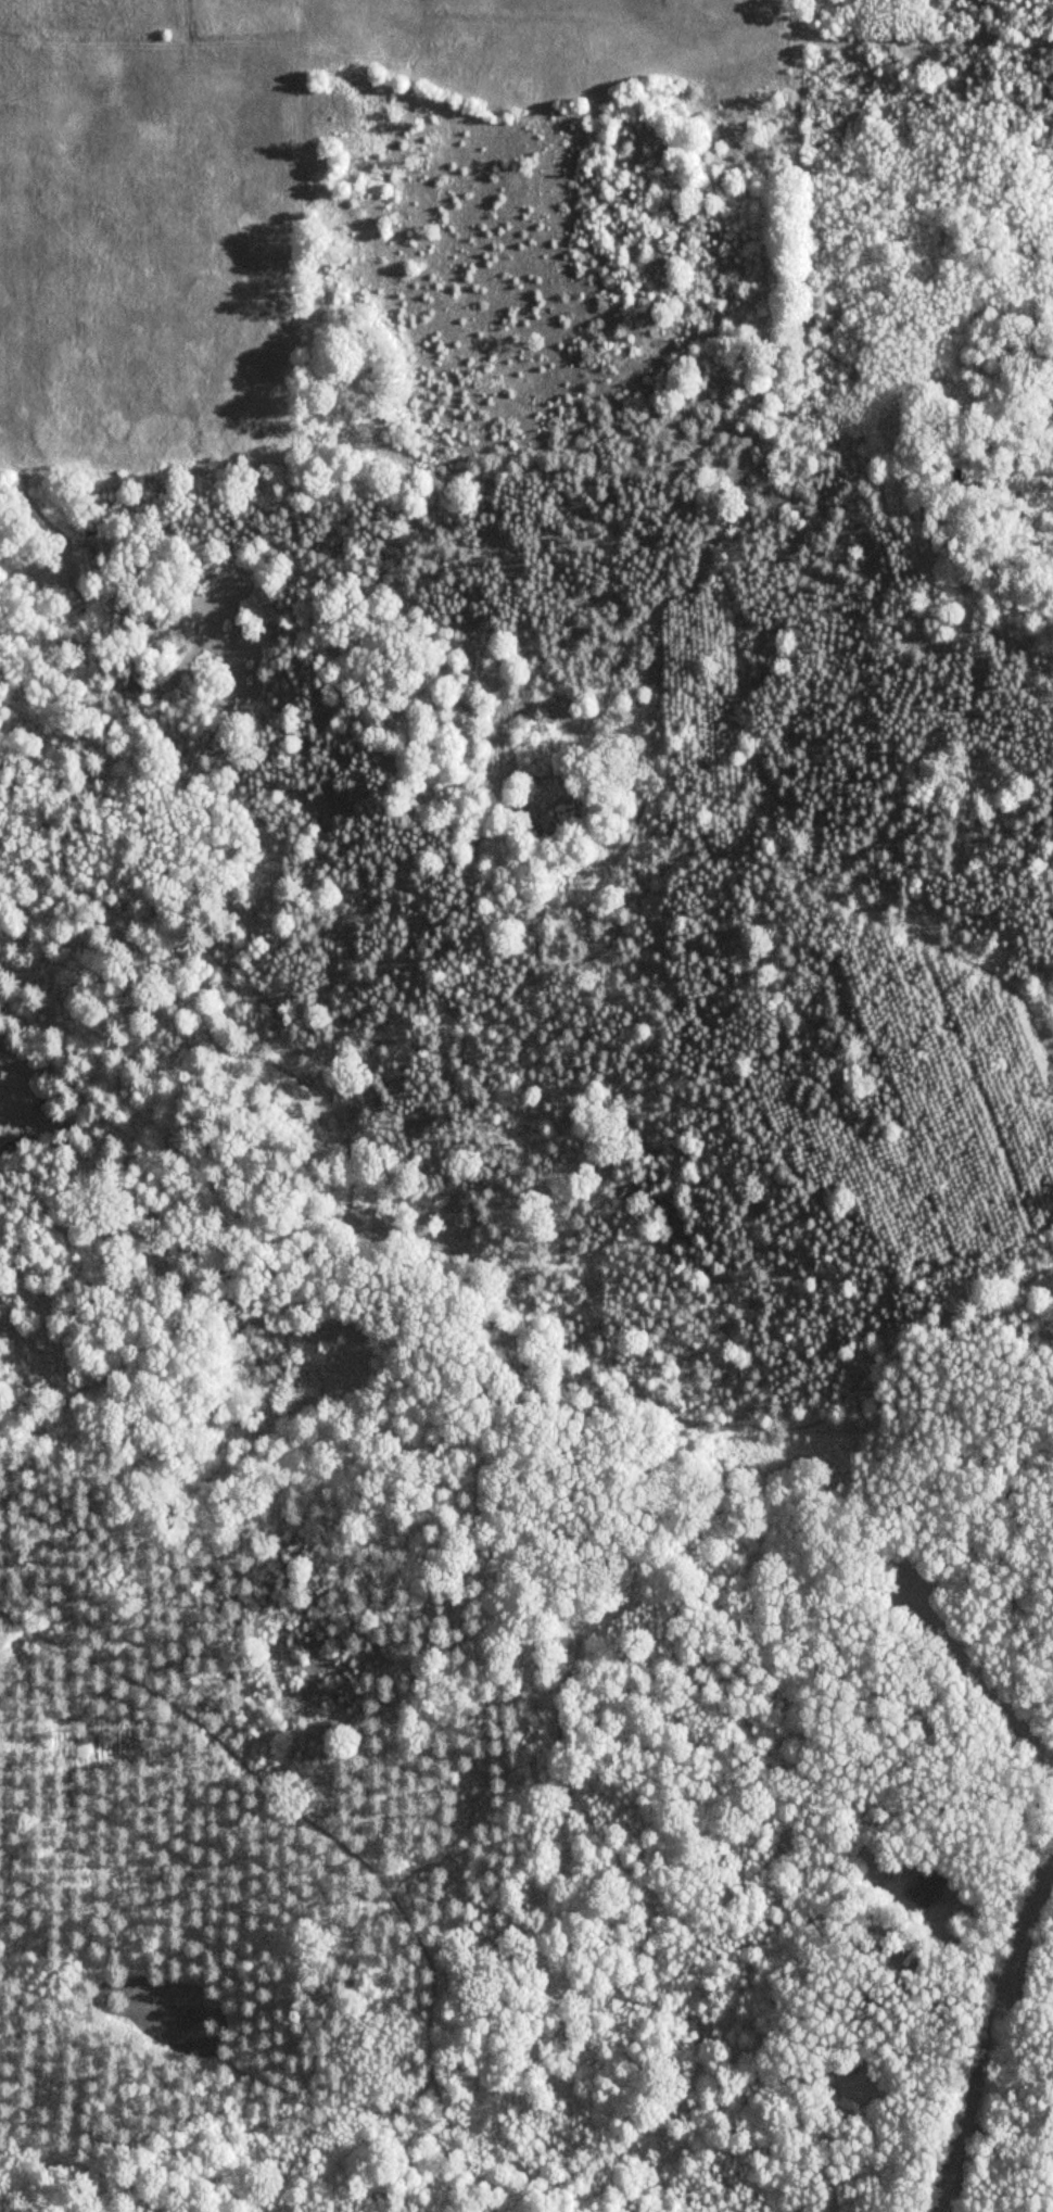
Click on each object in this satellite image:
building: (888, 63)
road: (978, 1671)
road: (335, 1844)
building: (928, 1888)
road: (989, 2032)
building: (847, 2068)

